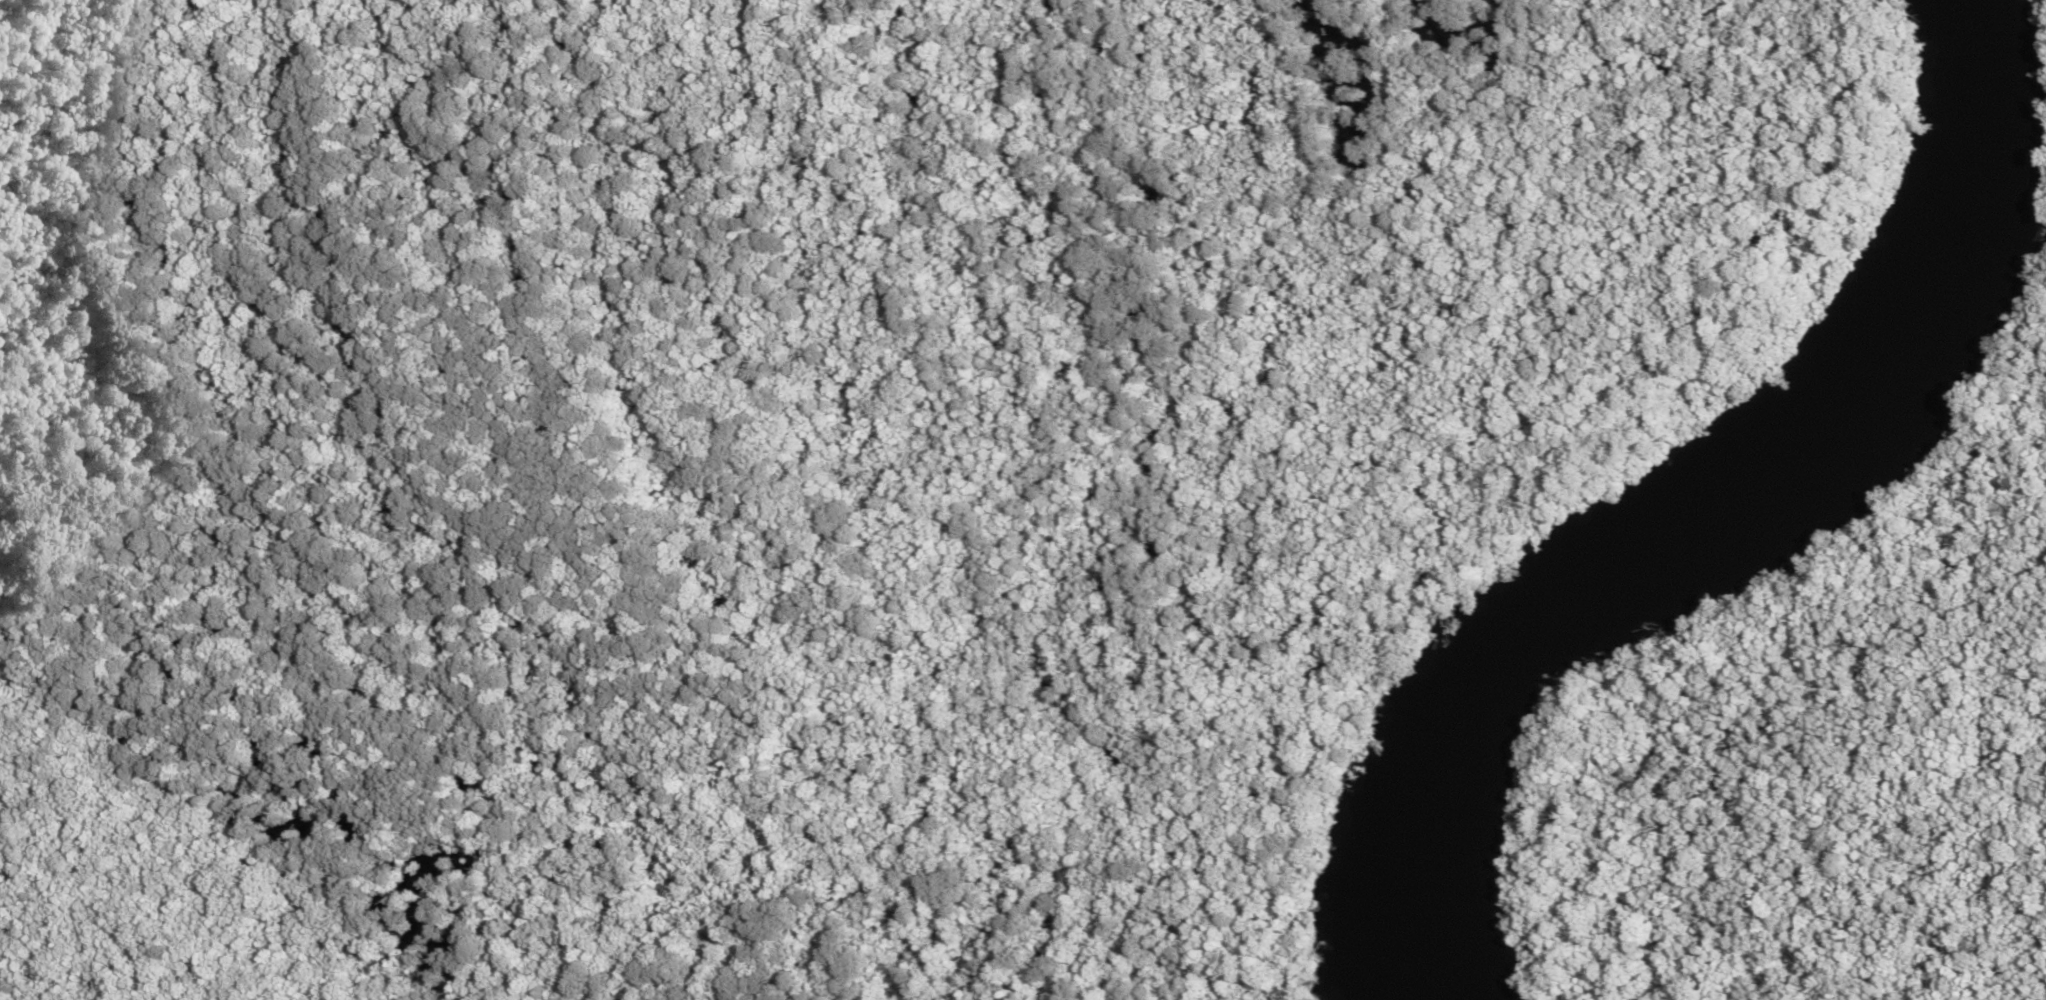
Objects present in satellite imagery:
river: (1697, 501)

